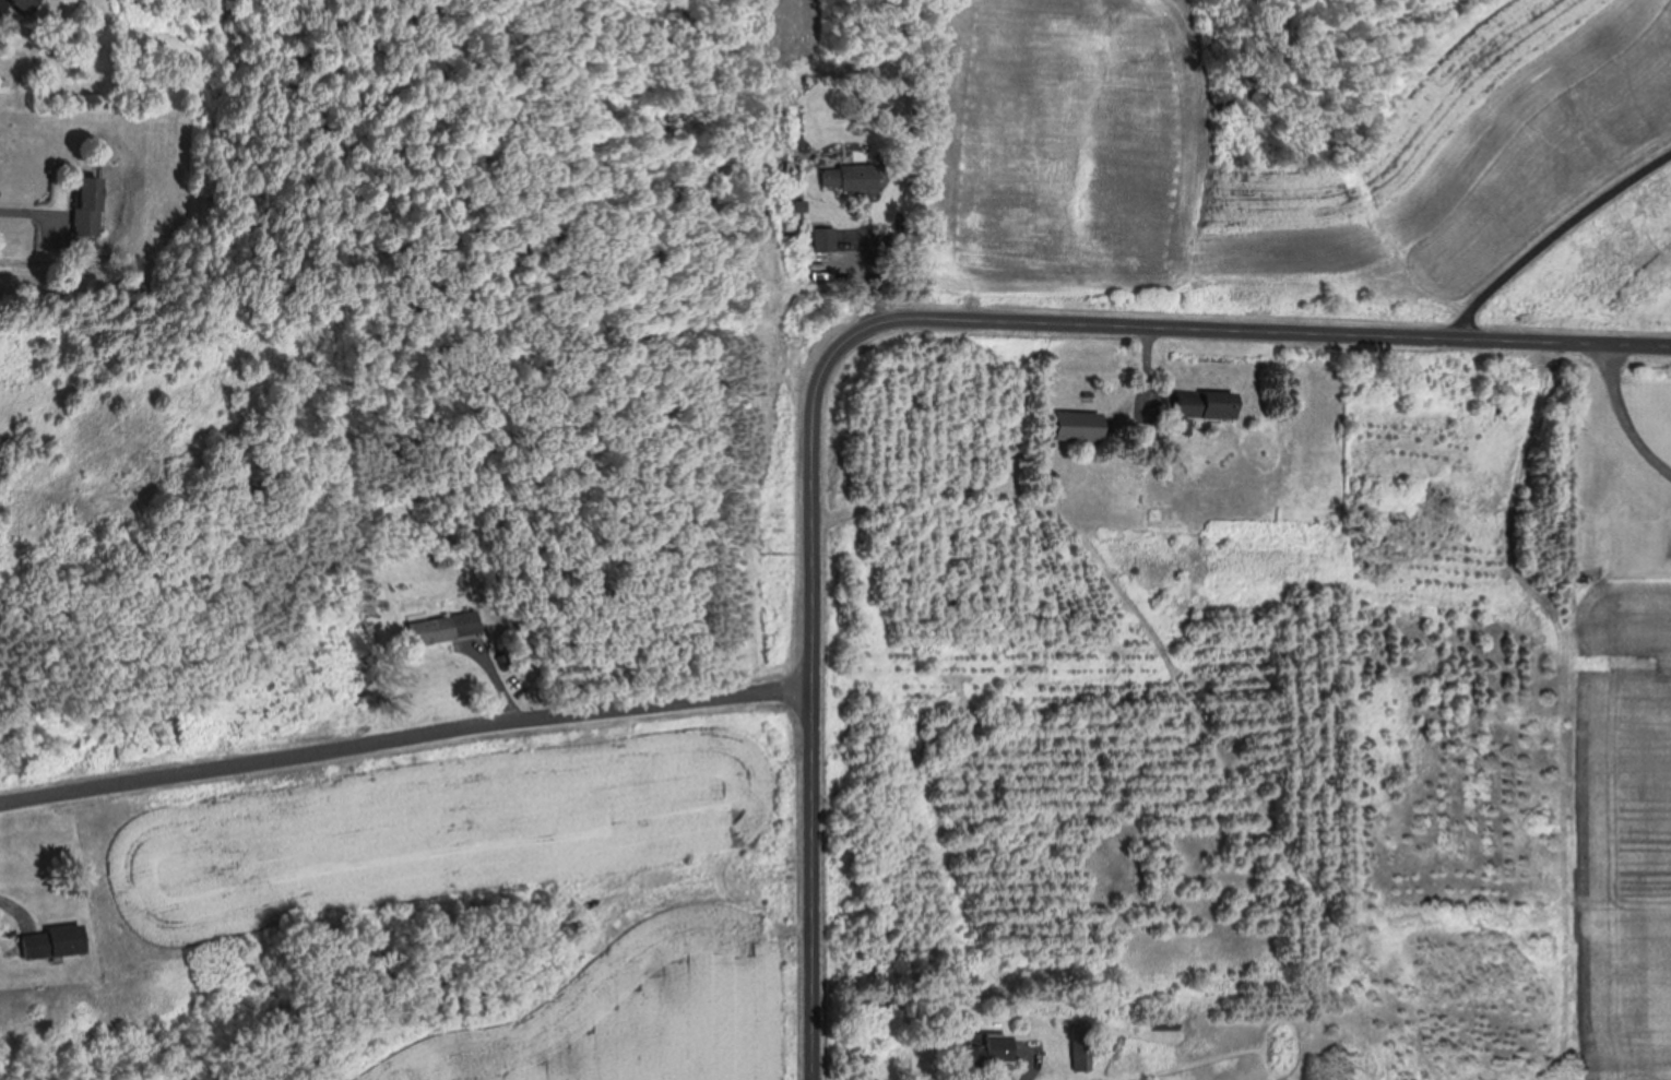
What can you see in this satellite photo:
building: (35, 2)
building: (1, 84)
building: (843, 177)
building: (91, 199)
building: (78, 206)
road: (15, 210)
road: (1552, 240)
road: (882, 323)
building: (1201, 411)
road: (1616, 420)
building: (1075, 427)
power tower: (768, 553)
building: (448, 624)
road: (403, 735)
road: (11, 905)
building: (58, 940)
building: (1165, 1026)
building: (1089, 1040)
building: (1080, 1046)
building: (976, 1052)
road: (1026, 1069)

